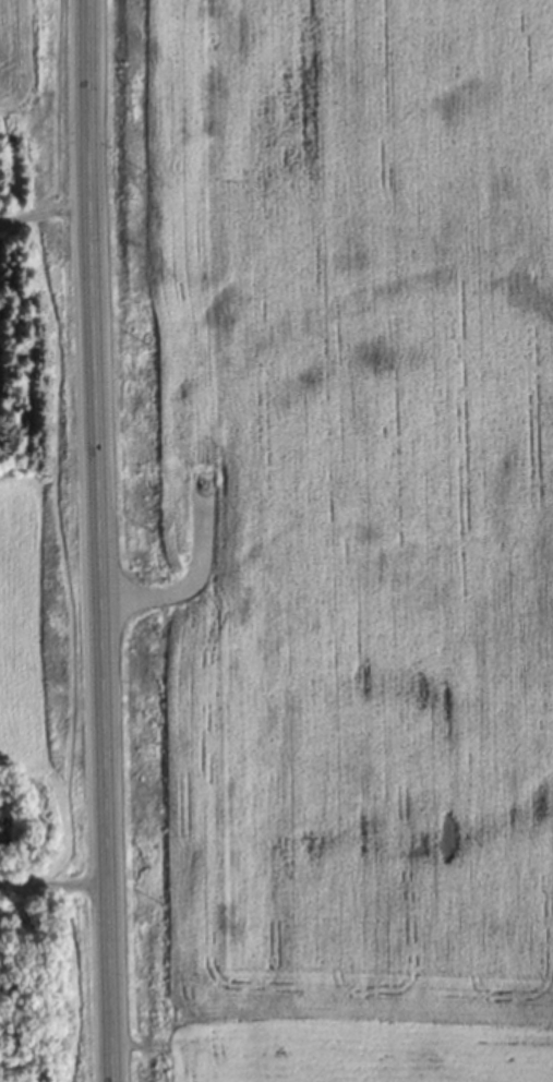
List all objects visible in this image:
road: (98, 540)

